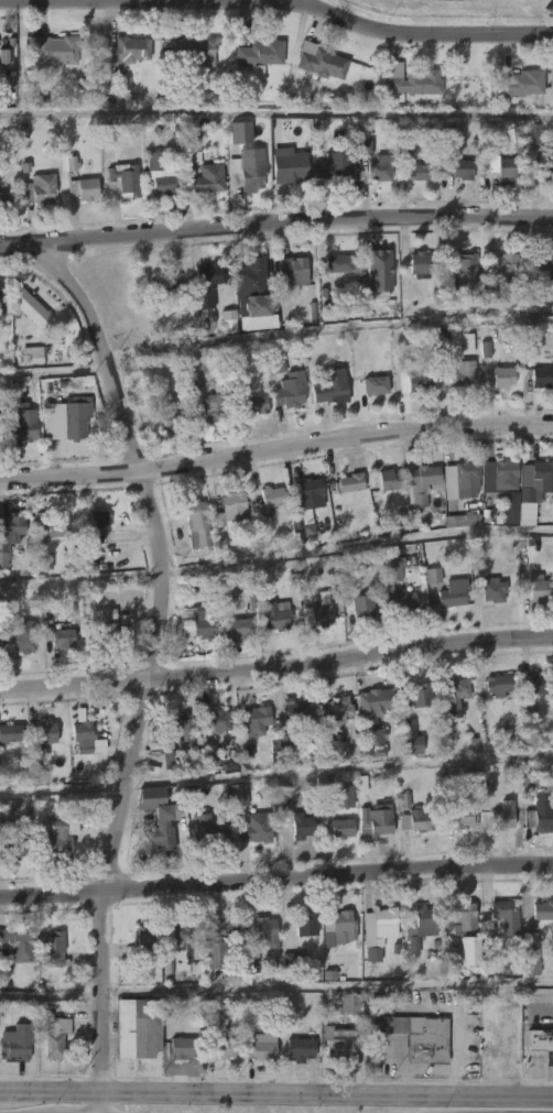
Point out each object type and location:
road: (152, 1)
road: (303, 1)
road: (425, 34)
building: (130, 48)
building: (55, 50)
building: (198, 50)
building: (260, 54)
building: (318, 62)
building: (518, 84)
building: (411, 85)
road: (276, 112)
building: (240, 131)
building: (194, 145)
building: (364, 145)
building: (289, 165)
building: (336, 167)
building: (462, 167)
building: (246, 168)
building: (378, 168)
building: (544, 170)
building: (503, 171)
building: (162, 172)
building: (413, 172)
building: (122, 179)
building: (208, 182)
building: (39, 188)
building: (83, 189)
building: (7, 199)
road: (275, 221)
building: (339, 263)
building: (415, 263)
building: (542, 263)
building: (379, 264)
building: (458, 271)
building: (291, 272)
building: (503, 273)
building: (208, 274)
building: (250, 283)
building: (160, 288)
building: (205, 297)
building: (3, 304)
building: (30, 307)
building: (229, 321)
building: (466, 343)
building: (441, 345)
building: (274, 364)
building: (459, 374)
building: (539, 377)
building: (499, 378)
building: (414, 383)
building: (329, 385)
building: (372, 385)
building: (288, 390)
building: (204, 404)
building: (253, 405)
building: (167, 414)
building: (79, 416)
building: (1, 422)
building: (22, 426)
road: (275, 450)
building: (502, 470)
building: (425, 474)
building: (535, 478)
building: (386, 479)
building: (464, 479)
building: (350, 482)
building: (308, 498)
building: (270, 503)
building: (231, 510)
building: (194, 524)
building: (59, 526)
building: (99, 526)
building: (11, 535)
building: (45, 560)
building: (432, 576)
building: (490, 589)
building: (538, 589)
building: (449, 593)
building: (252, 602)
building: (402, 602)
building: (362, 607)
building: (318, 616)
building: (274, 621)
building: (204, 623)
building: (108, 626)
building: (235, 629)
building: (58, 635)
building: (23, 636)
road: (158, 651)
road: (276, 662)
building: (497, 684)
building: (538, 684)
building: (418, 695)
building: (454, 695)
building: (291, 708)
building: (334, 708)
building: (218, 720)
building: (252, 721)
building: (368, 722)
building: (185, 730)
building: (46, 731)
building: (11, 733)
building: (85, 736)
building: (409, 736)
building: (208, 748)
road: (340, 768)
building: (238, 795)
building: (340, 795)
building: (4, 807)
building: (538, 815)
building: (503, 816)
building: (291, 817)
building: (460, 817)
building: (155, 819)
building: (414, 819)
building: (371, 821)
building: (338, 827)
building: (207, 831)
building: (258, 834)
building: (64, 836)
building: (13, 849)
road: (276, 882)
building: (541, 909)
building: (459, 916)
building: (502, 916)
building: (381, 923)
building: (303, 925)
building: (335, 926)
building: (418, 927)
building: (260, 931)
building: (181, 932)
building: (150, 939)
building: (219, 945)
building: (15, 949)
building: (57, 950)
building: (468, 951)
building: (529, 954)
building: (252, 956)
building: (294, 959)
road: (327, 986)
building: (346, 1003)
building: (15, 1012)
building: (137, 1029)
building: (57, 1037)
building: (19, 1041)
building: (425, 1043)
building: (339, 1044)
building: (540, 1044)
building: (180, 1048)
building: (216, 1049)
building: (300, 1049)
building: (257, 1050)
road: (429, 1072)
road: (2, 1091)
road: (53, 1091)
road: (327, 1094)
road: (101, 1102)

